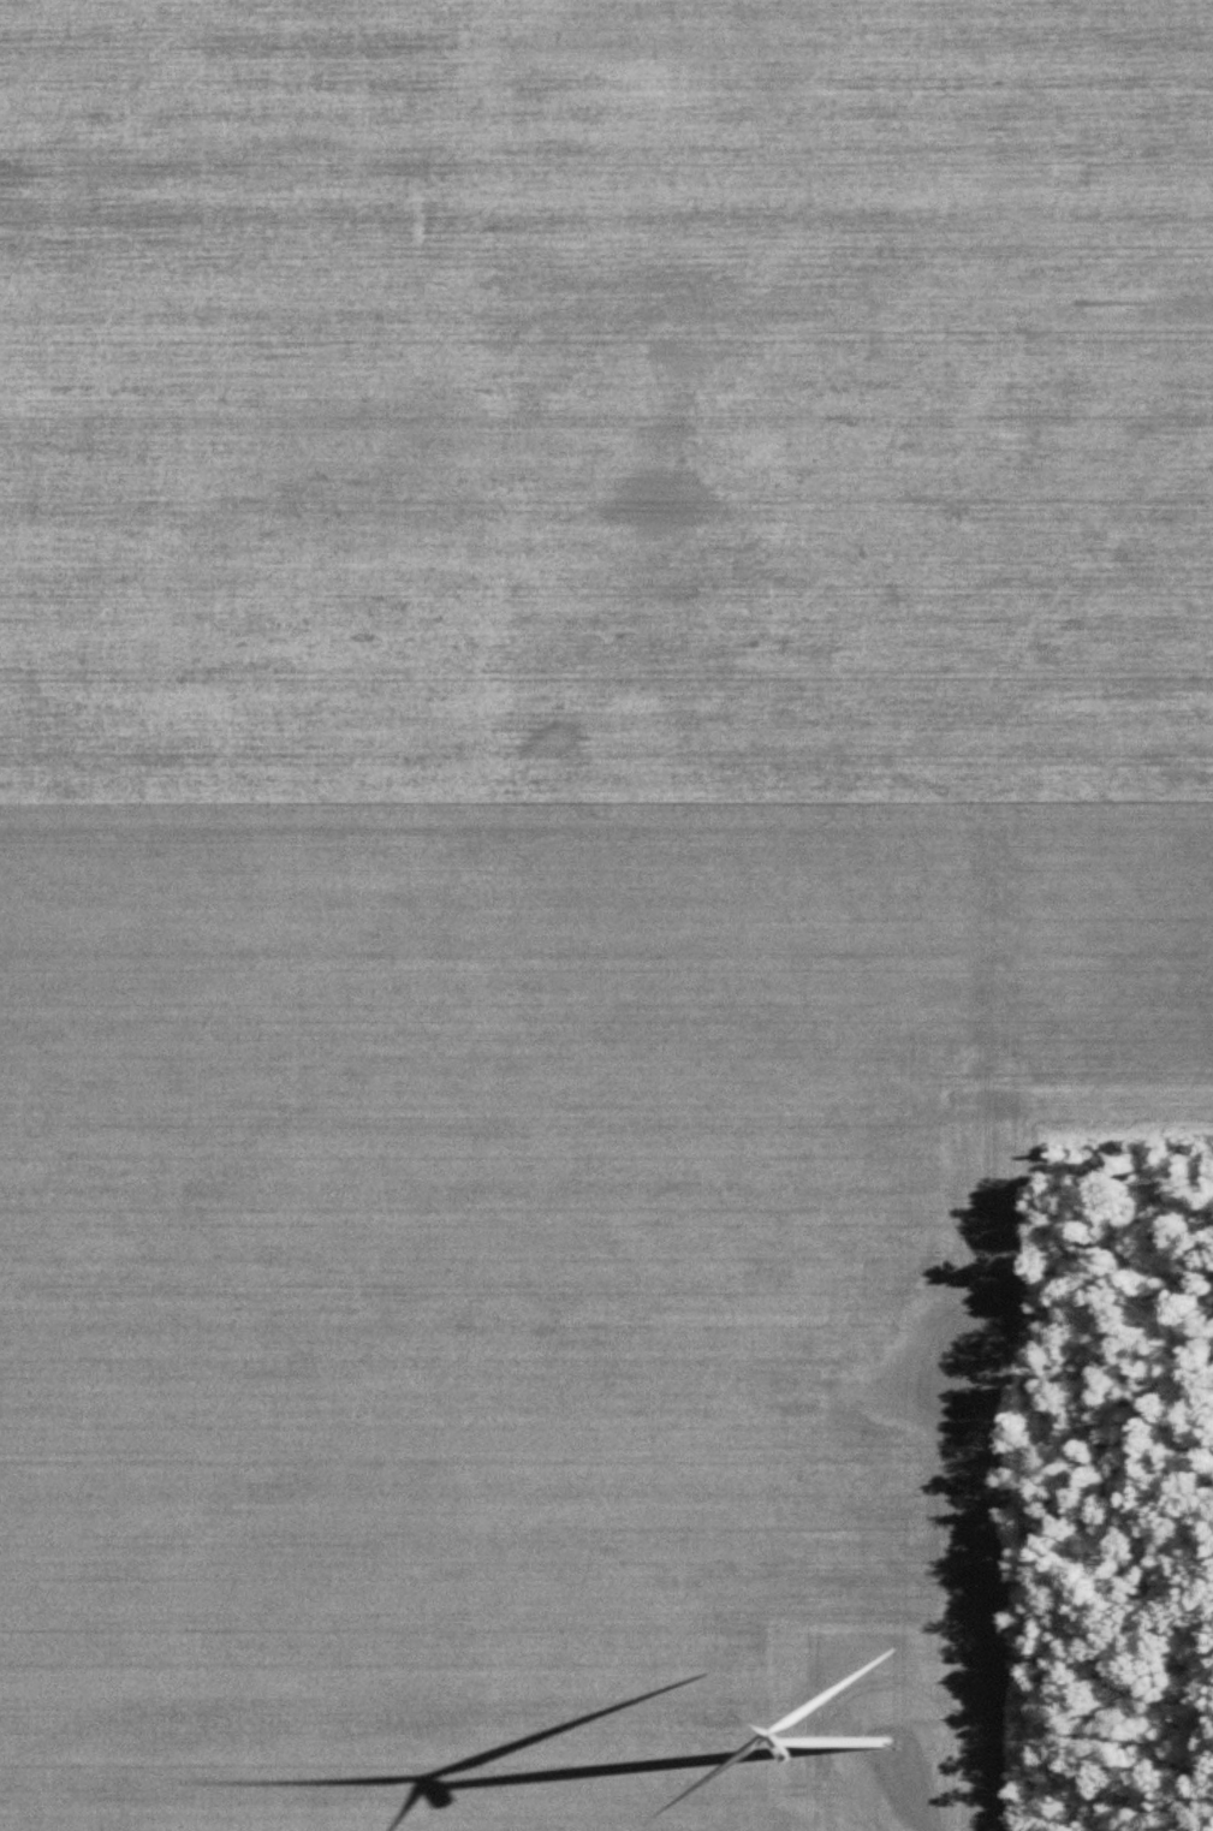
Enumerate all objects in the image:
wind turbine: (903, 1759)

